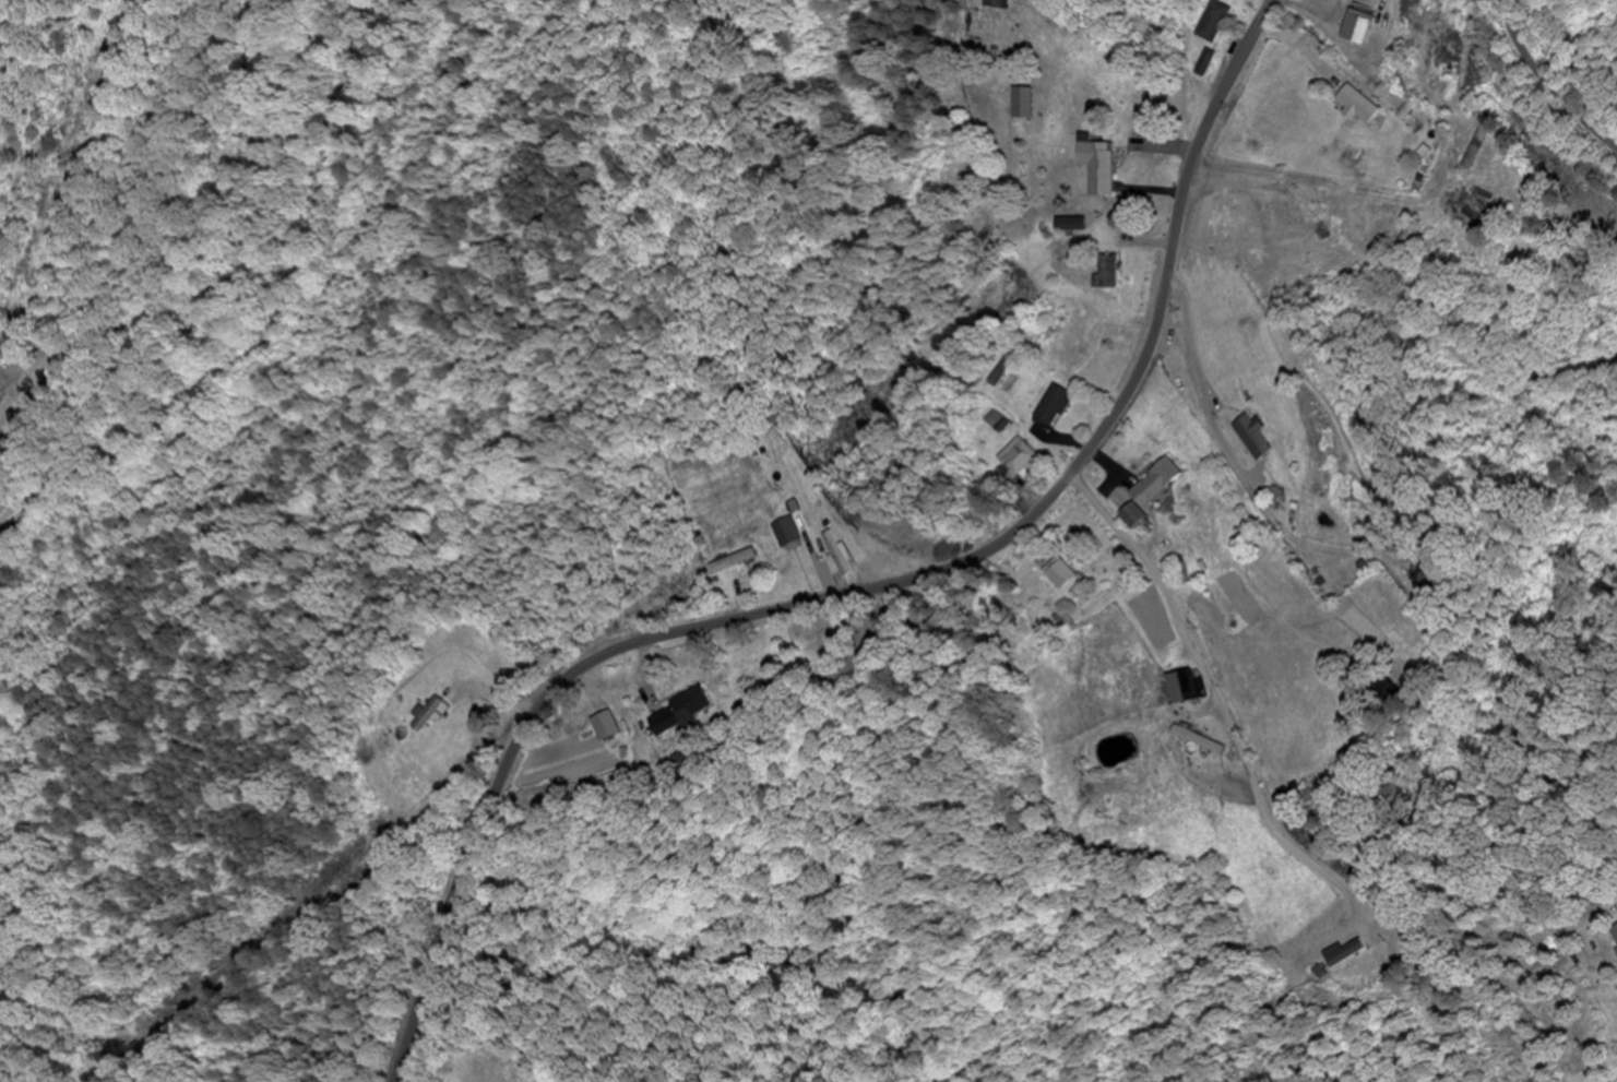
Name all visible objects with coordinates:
building: (1003, 3)
building: (1217, 23)
building: (1371, 25)
building: (1444, 72)
road: (1550, 81)
building: (1022, 104)
building: (1356, 105)
building: (1098, 167)
building: (1467, 206)
building: (1071, 225)
building: (1332, 231)
building: (1110, 273)
building: (1009, 377)
building: (15, 400)
building: (1055, 407)
building: (1001, 424)
building: (1257, 438)
building: (1020, 459)
building: (1152, 491)
building: (789, 534)
building: (843, 556)
building: (734, 561)
building: (1435, 573)
building: (1062, 575)
road: (870, 590)
building: (1181, 688)
building: (680, 713)
building: (431, 716)
building: (606, 727)
road: (1594, 918)
building: (1343, 952)

